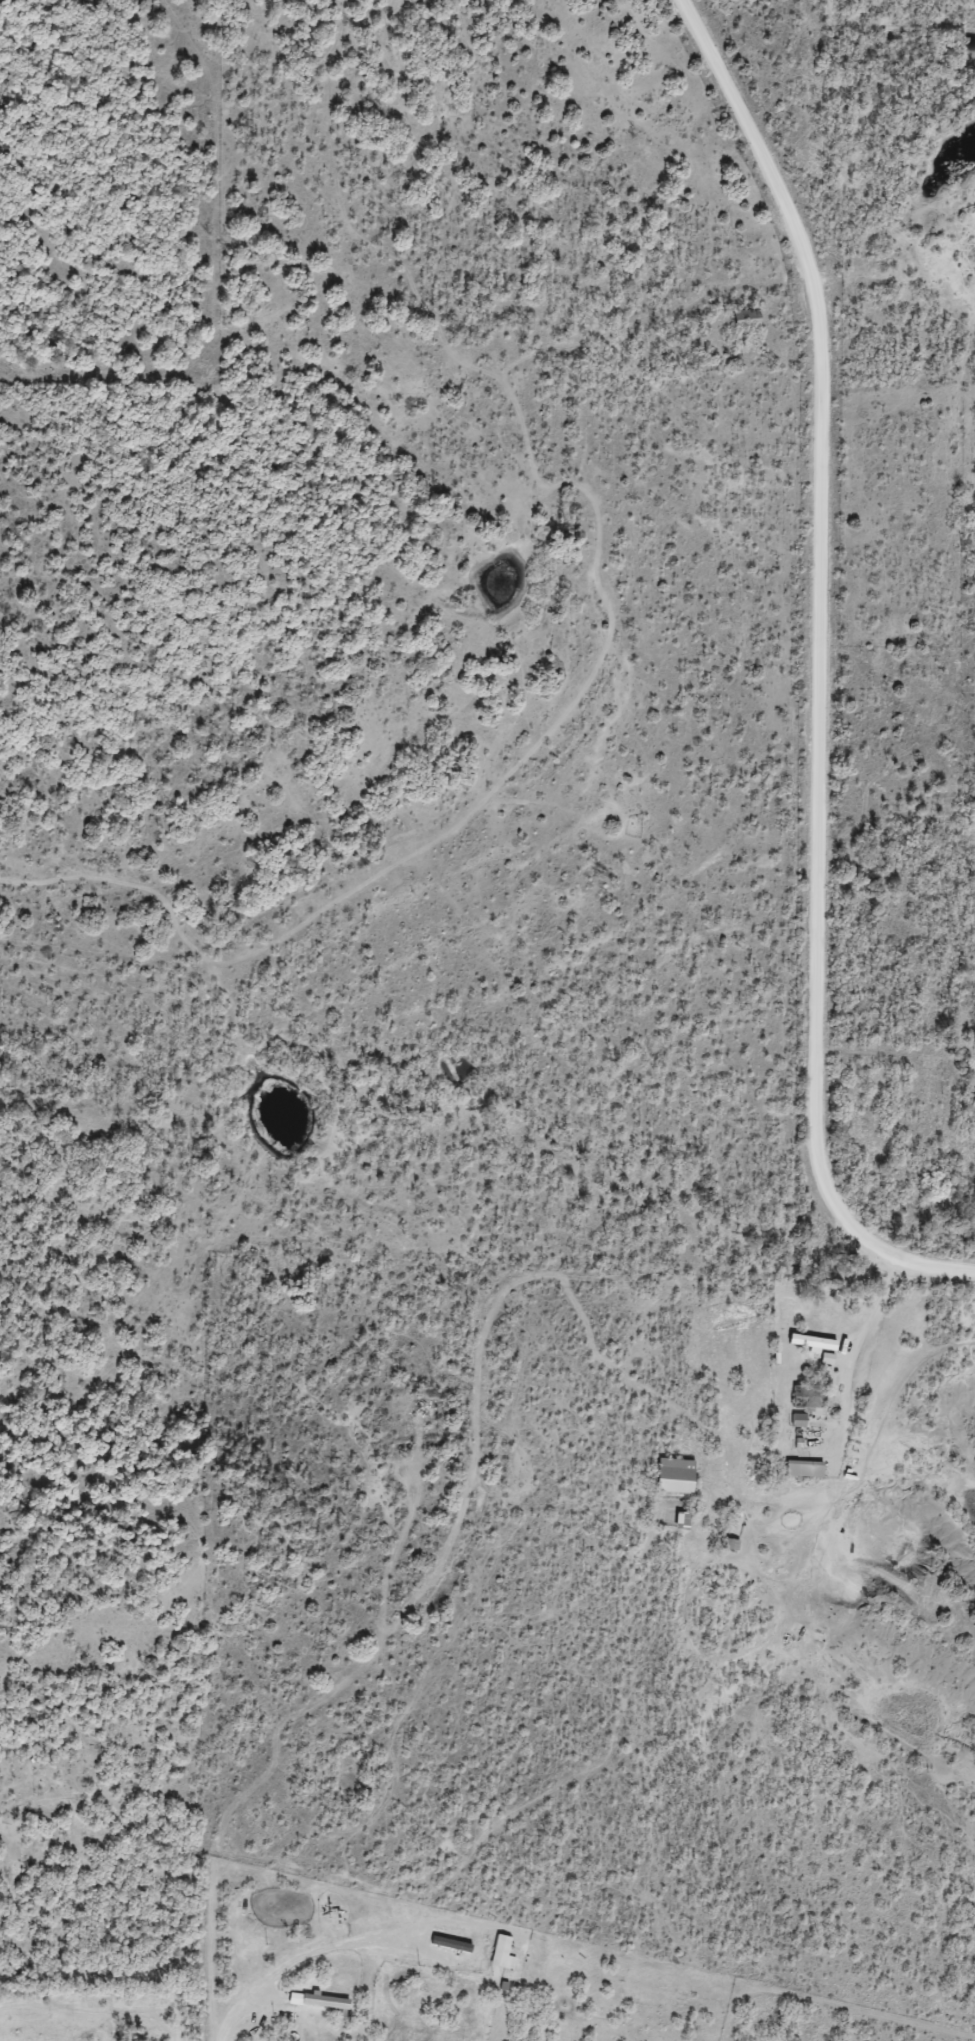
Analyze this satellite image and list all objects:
building: (745, 320)
building: (924, 1088)
building: (917, 1130)
road: (920, 1265)
building: (809, 1397)
building: (804, 1469)
building: (675, 1476)
building: (682, 1521)

